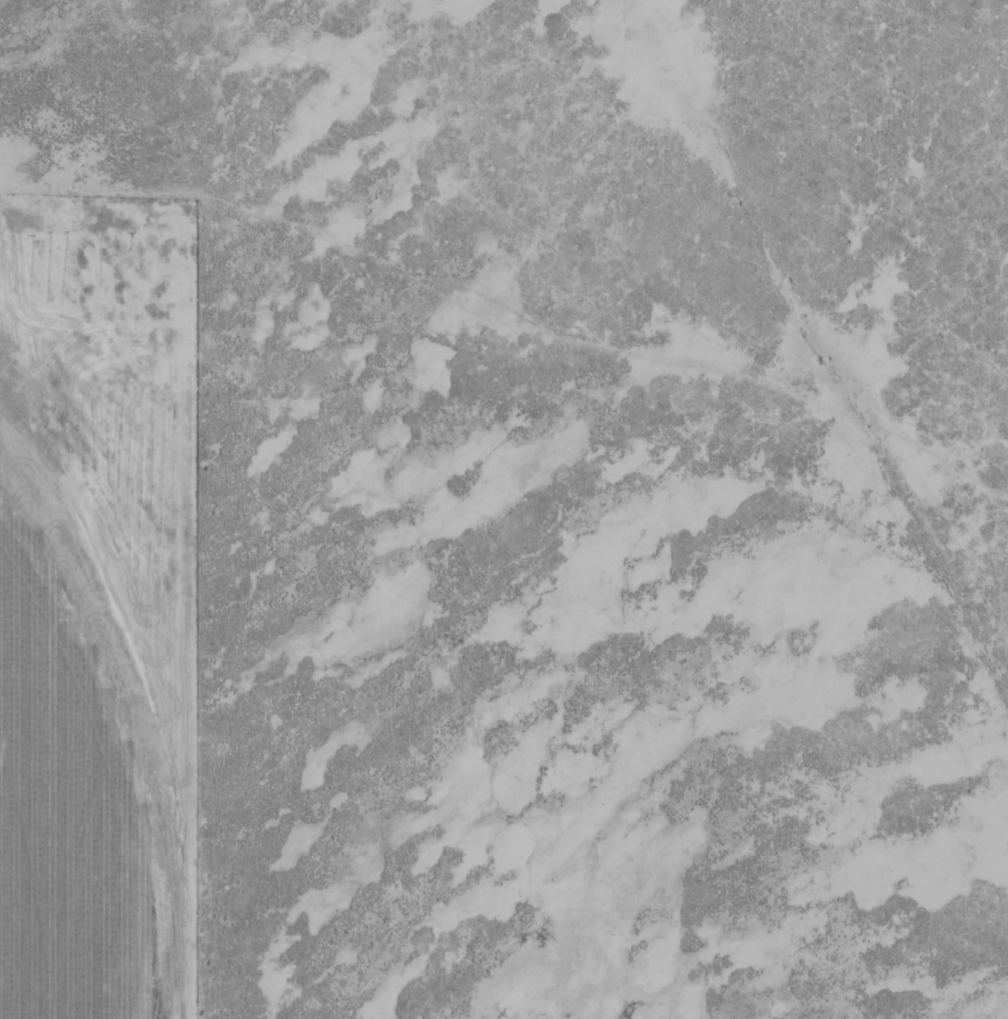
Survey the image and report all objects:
crop: (65, 816)

